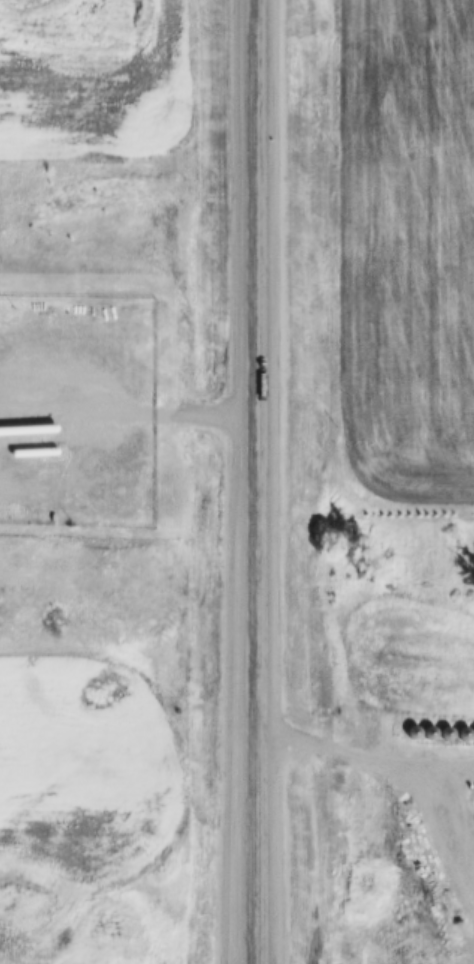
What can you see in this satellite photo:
building: (3, 335)
storage tank: (36, 443)
road: (257, 481)
building: (414, 725)
silo: (414, 725)
building: (430, 725)
silo: (430, 725)
building: (447, 726)
silo: (447, 726)
building: (464, 727)
silo: (464, 727)
road: (309, 741)
road: (415, 768)
road: (418, 815)

